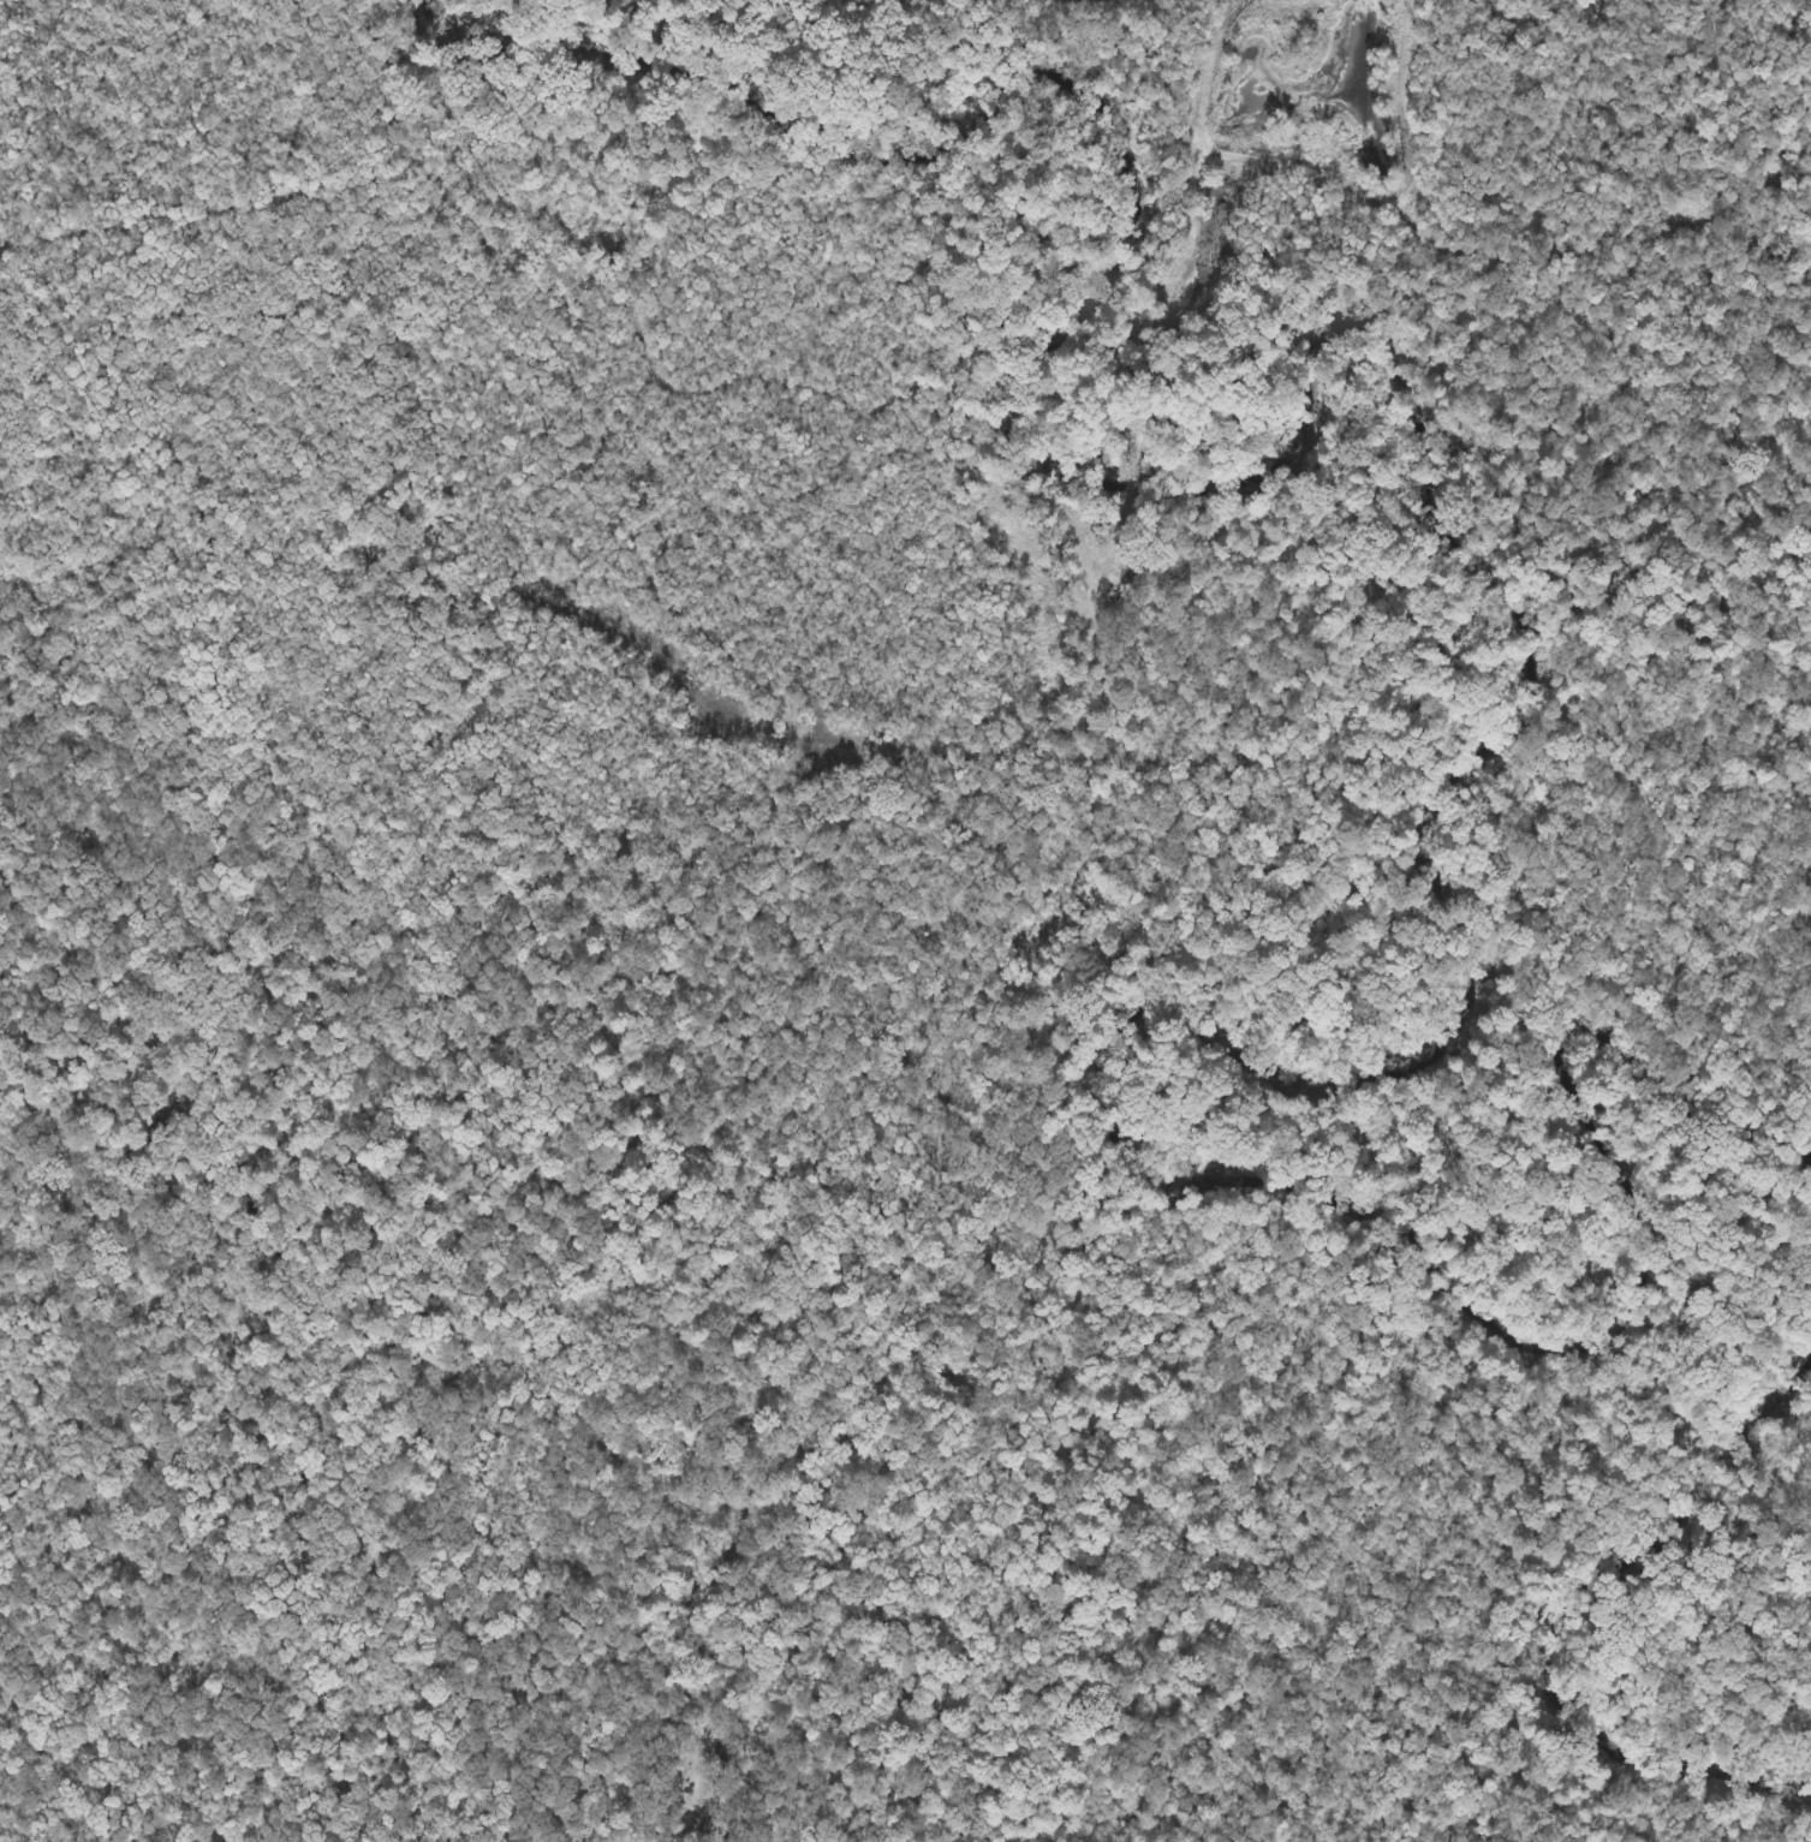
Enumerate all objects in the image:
river: (1542, 726)
river: (1575, 1627)

